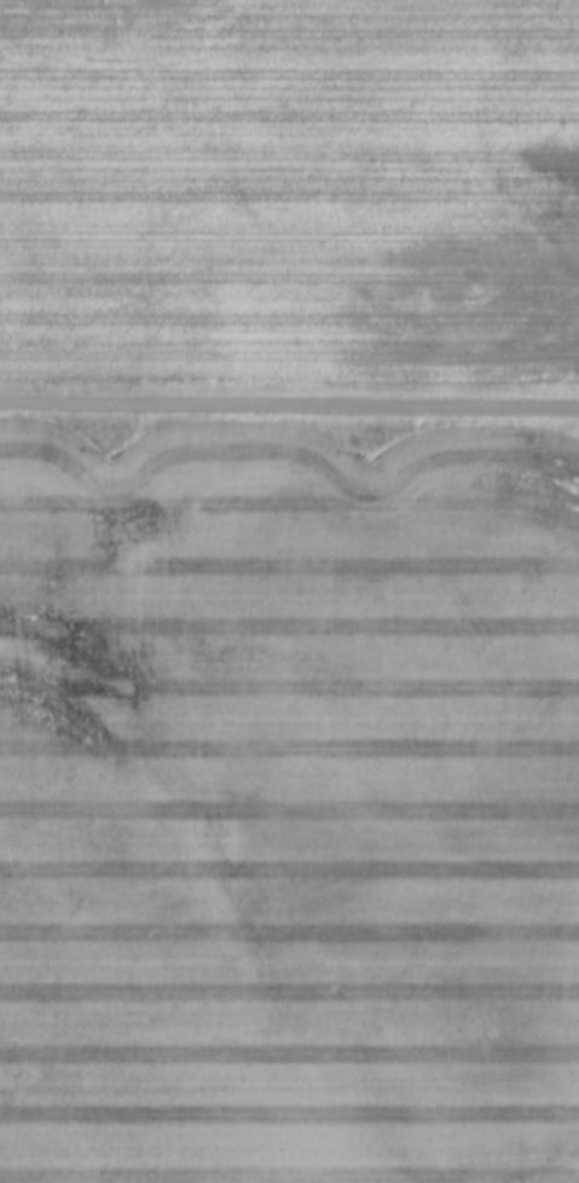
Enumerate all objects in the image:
road: (289, 405)

